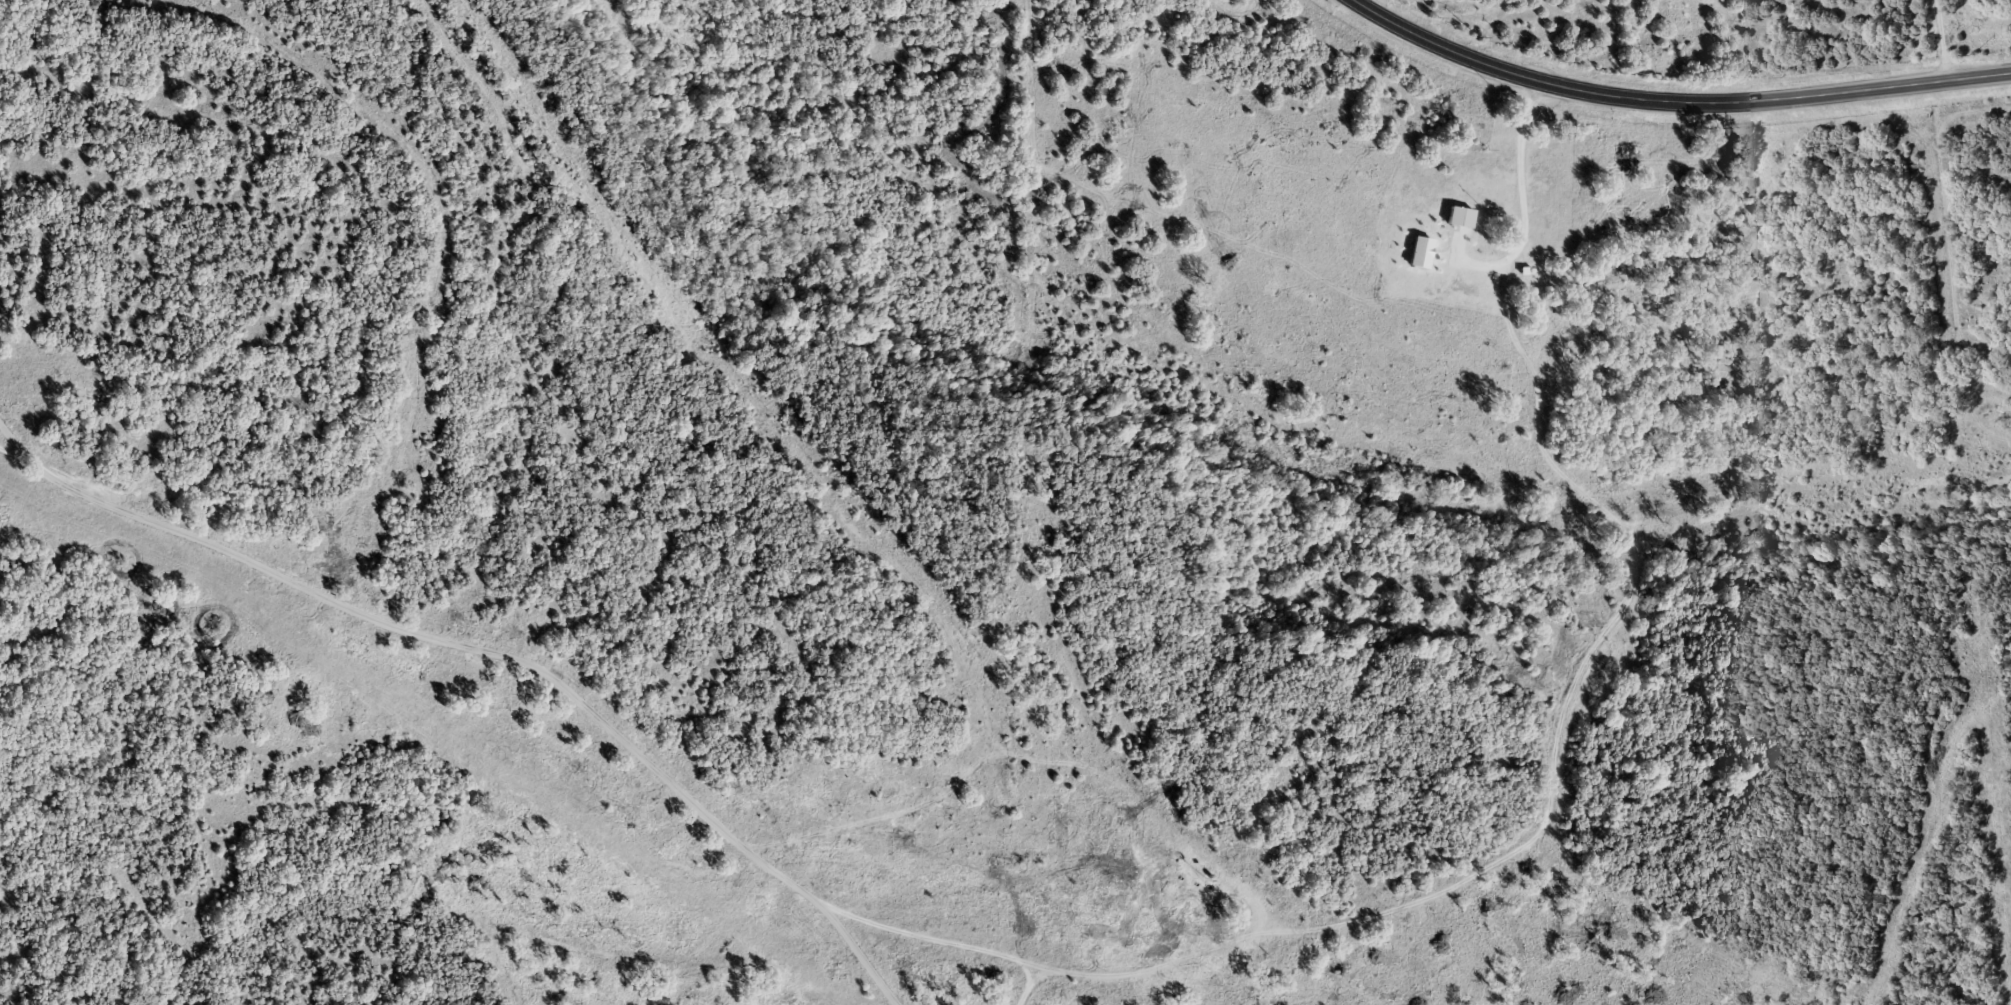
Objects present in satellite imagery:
road: (1942, 39)
road: (1674, 101)
road: (1521, 191)
building: (1459, 216)
building: (1419, 251)
road: (490, 652)
building: (1213, 928)
road: (930, 935)
building: (1107, 937)
road: (1204, 948)
road: (1028, 987)

